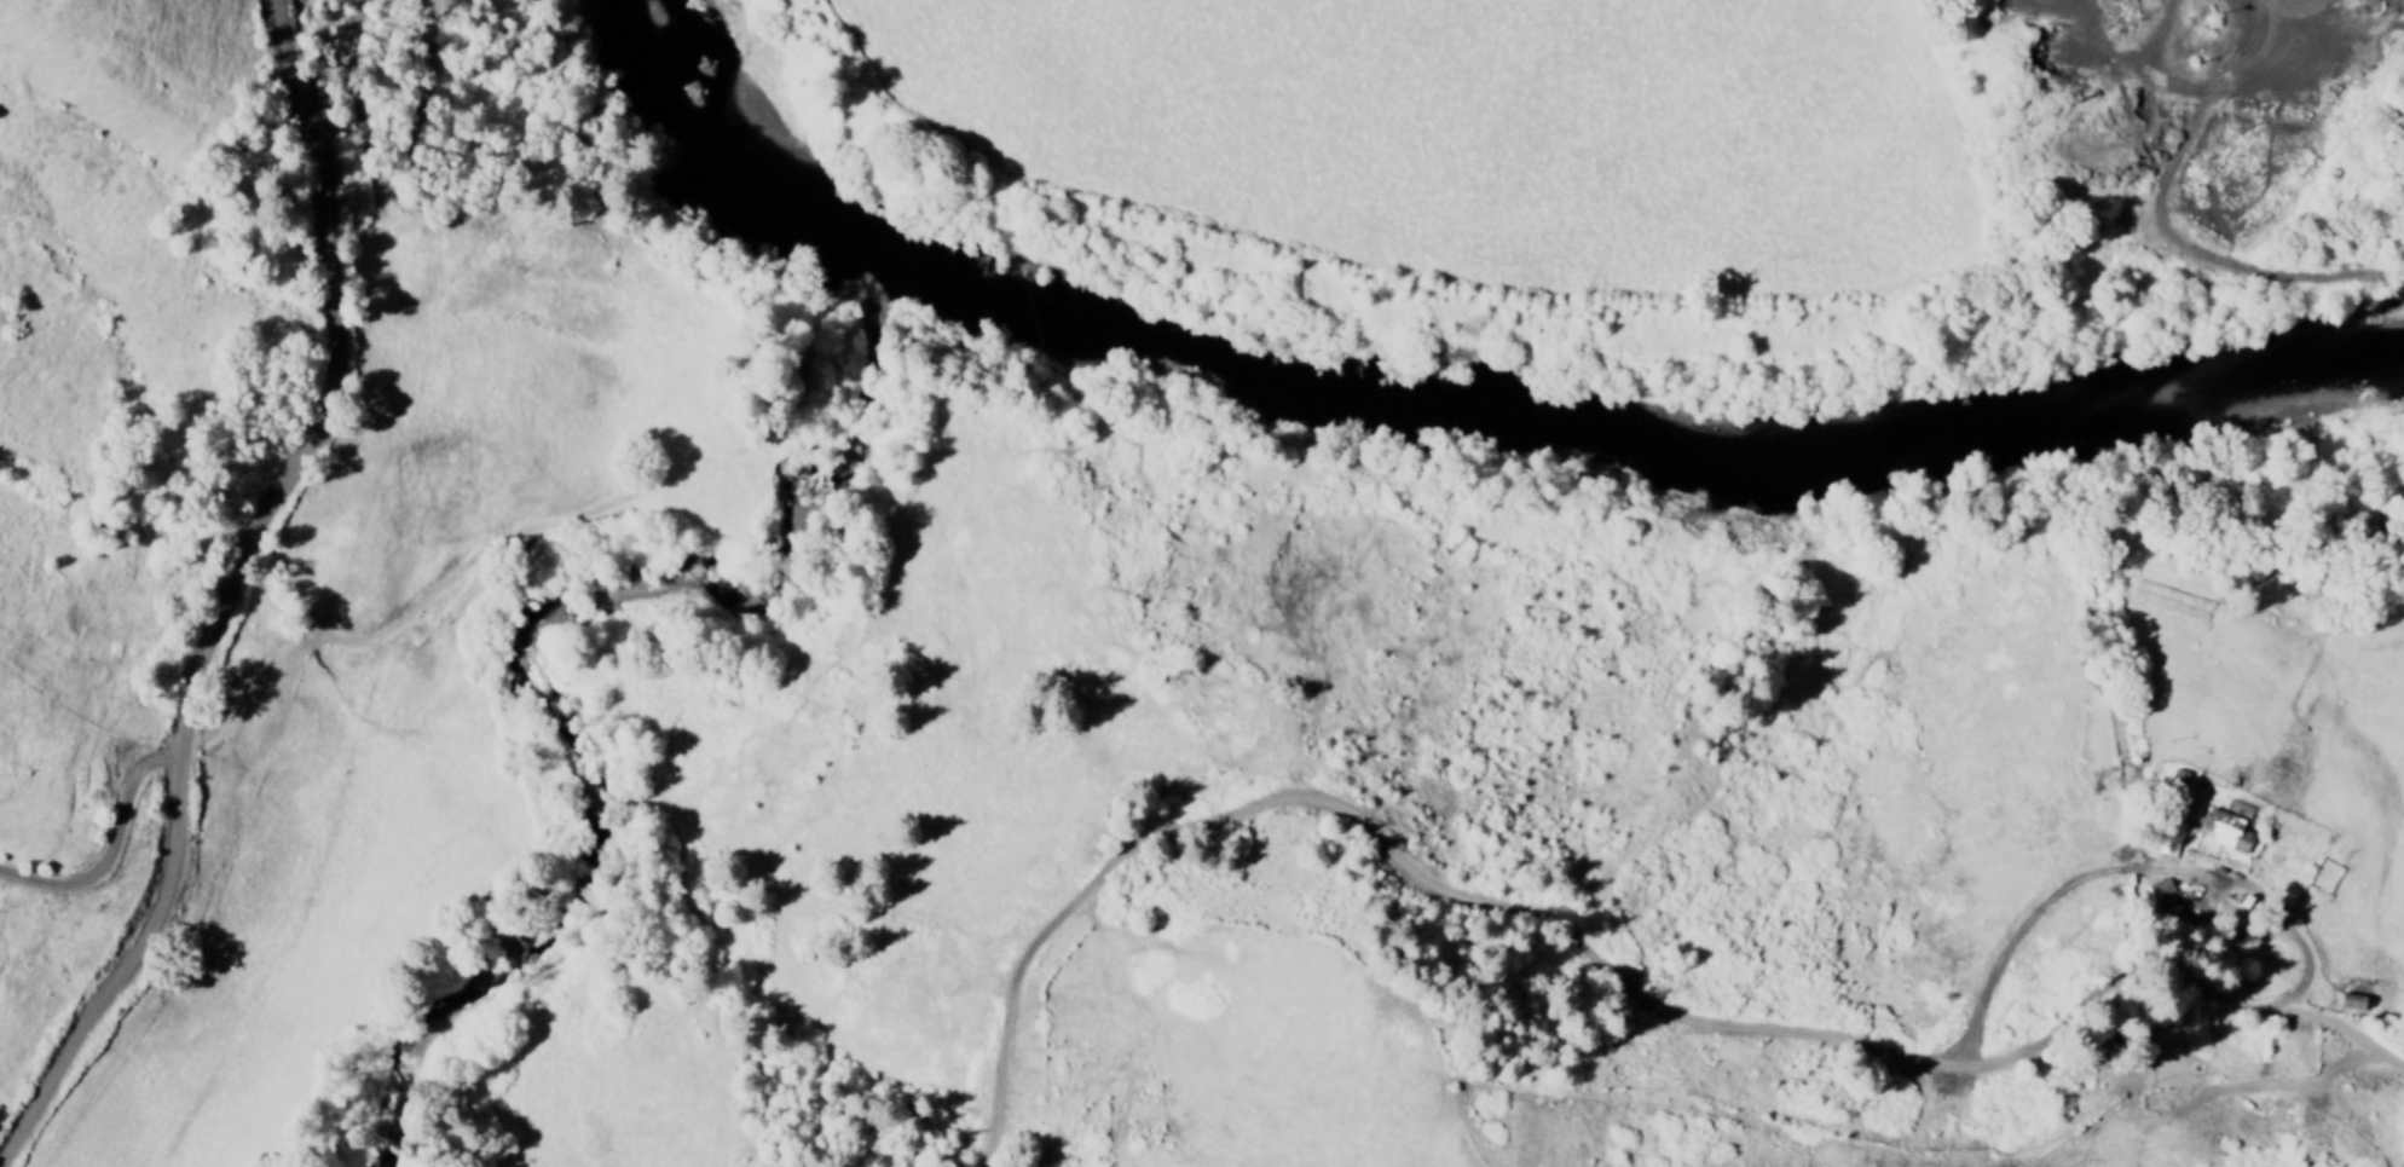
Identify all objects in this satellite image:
road: (2162, 210)
river: (1439, 411)
road: (225, 591)
building: (2174, 784)
building: (2226, 827)
building: (2167, 839)
road: (109, 848)
building: (2159, 894)
road: (1583, 953)

